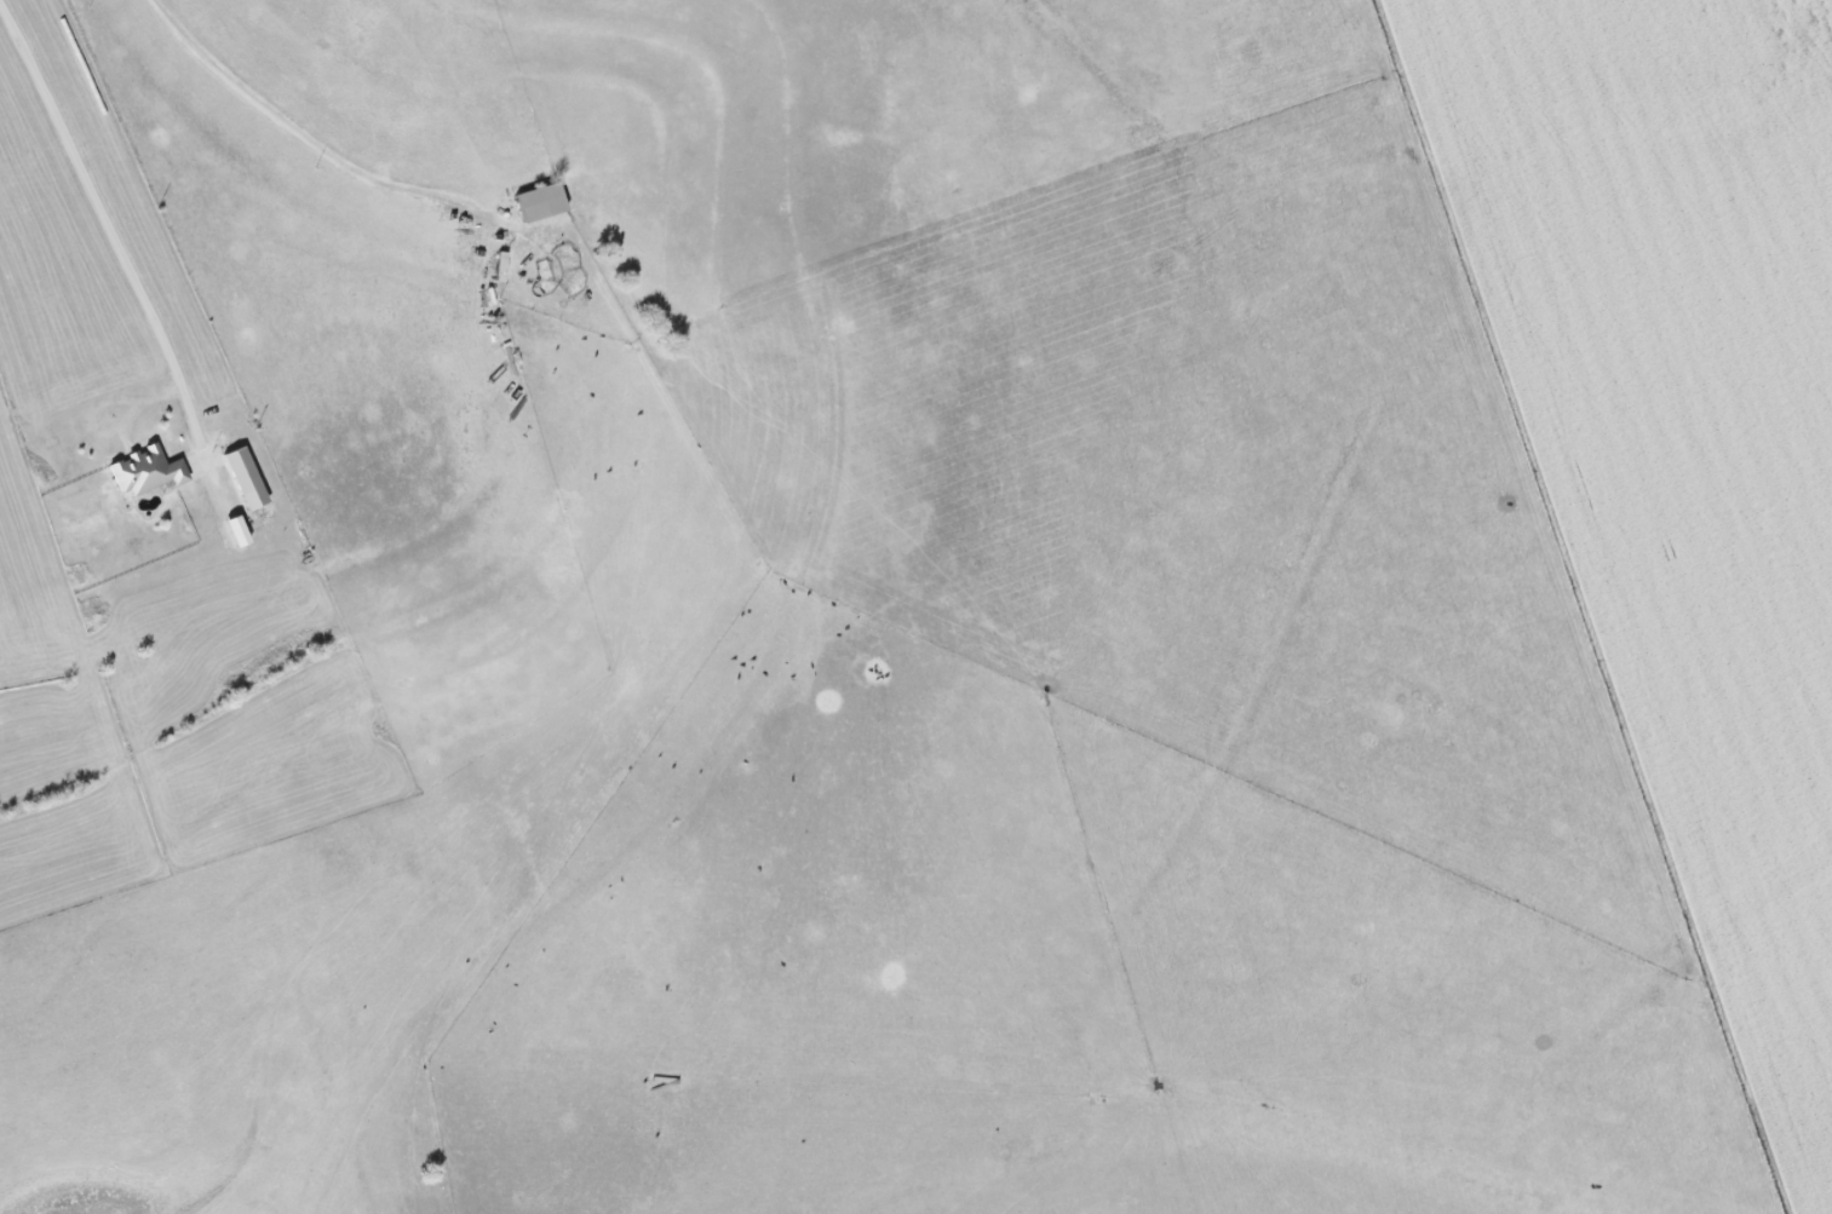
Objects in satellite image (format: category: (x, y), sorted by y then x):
road: (337, 142)
building: (542, 202)
road: (99, 209)
building: (148, 471)
building: (247, 478)
building: (239, 531)

